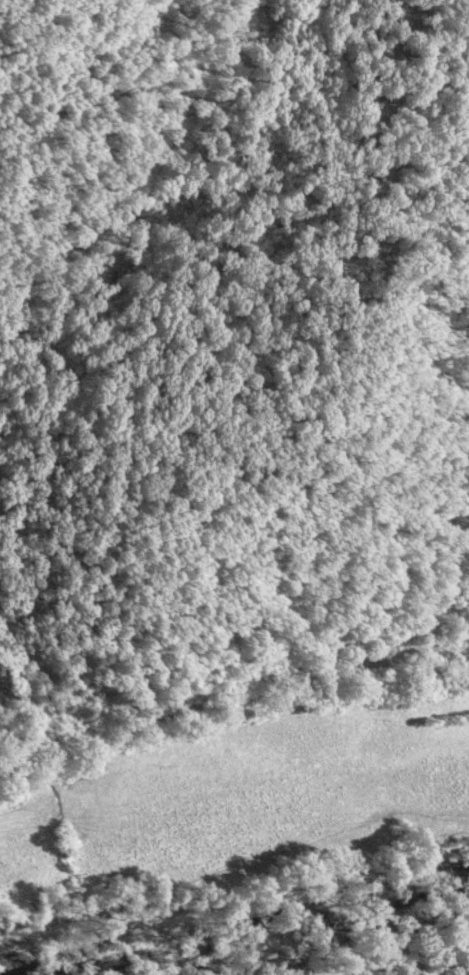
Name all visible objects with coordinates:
road: (426, 626)
road: (232, 708)
road: (93, 870)

